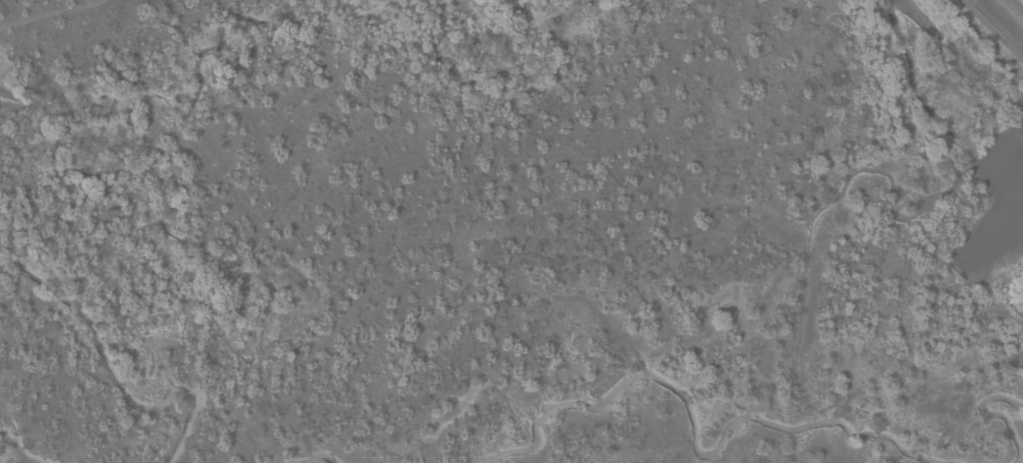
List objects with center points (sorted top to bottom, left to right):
road: (1001, 20)

